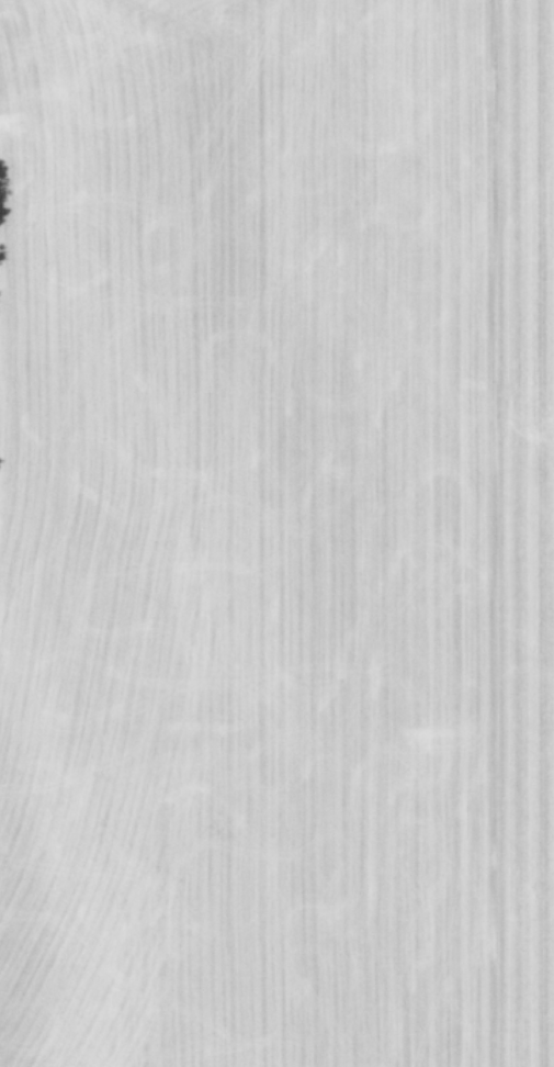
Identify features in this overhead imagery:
crop: (276, 533)

